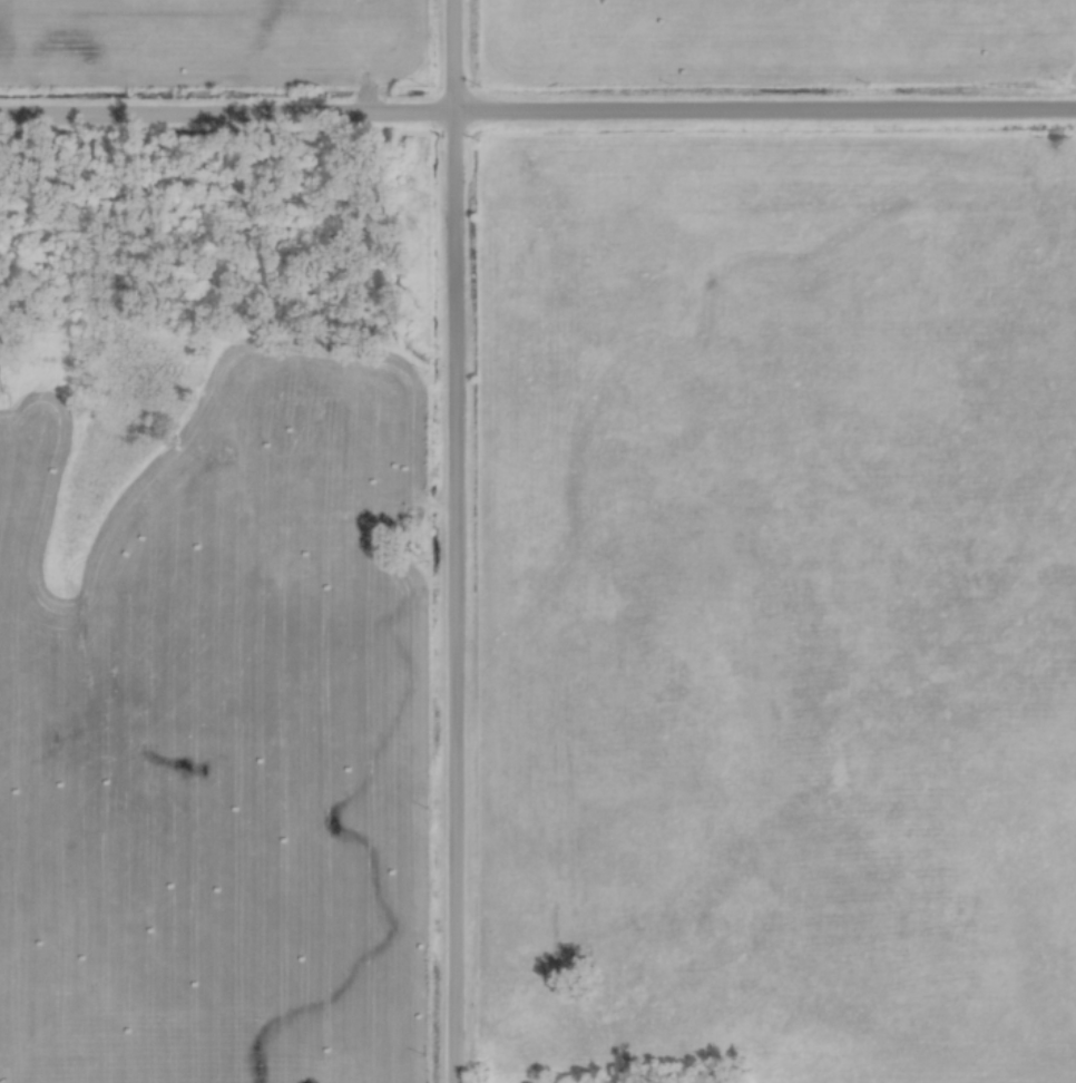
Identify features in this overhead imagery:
road: (537, 111)
road: (454, 541)

